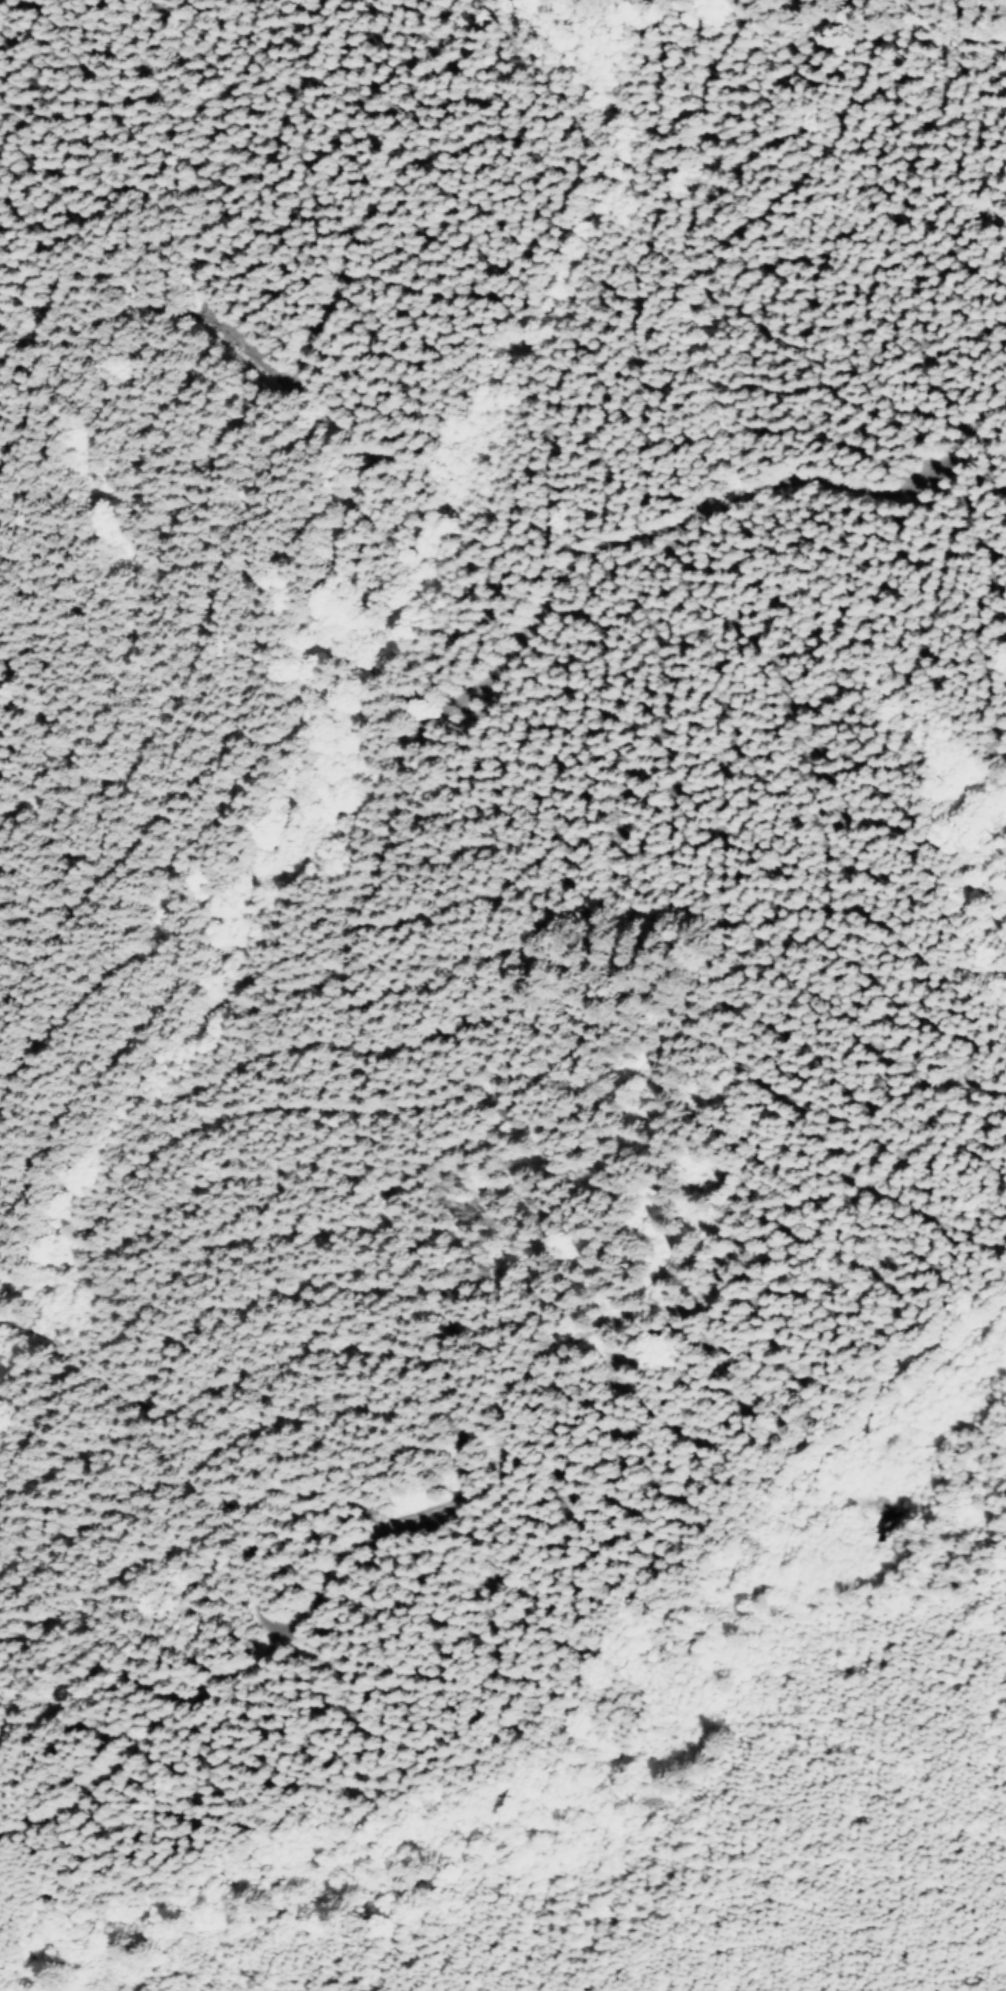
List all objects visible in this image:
road: (355, 896)
road: (297, 1879)

